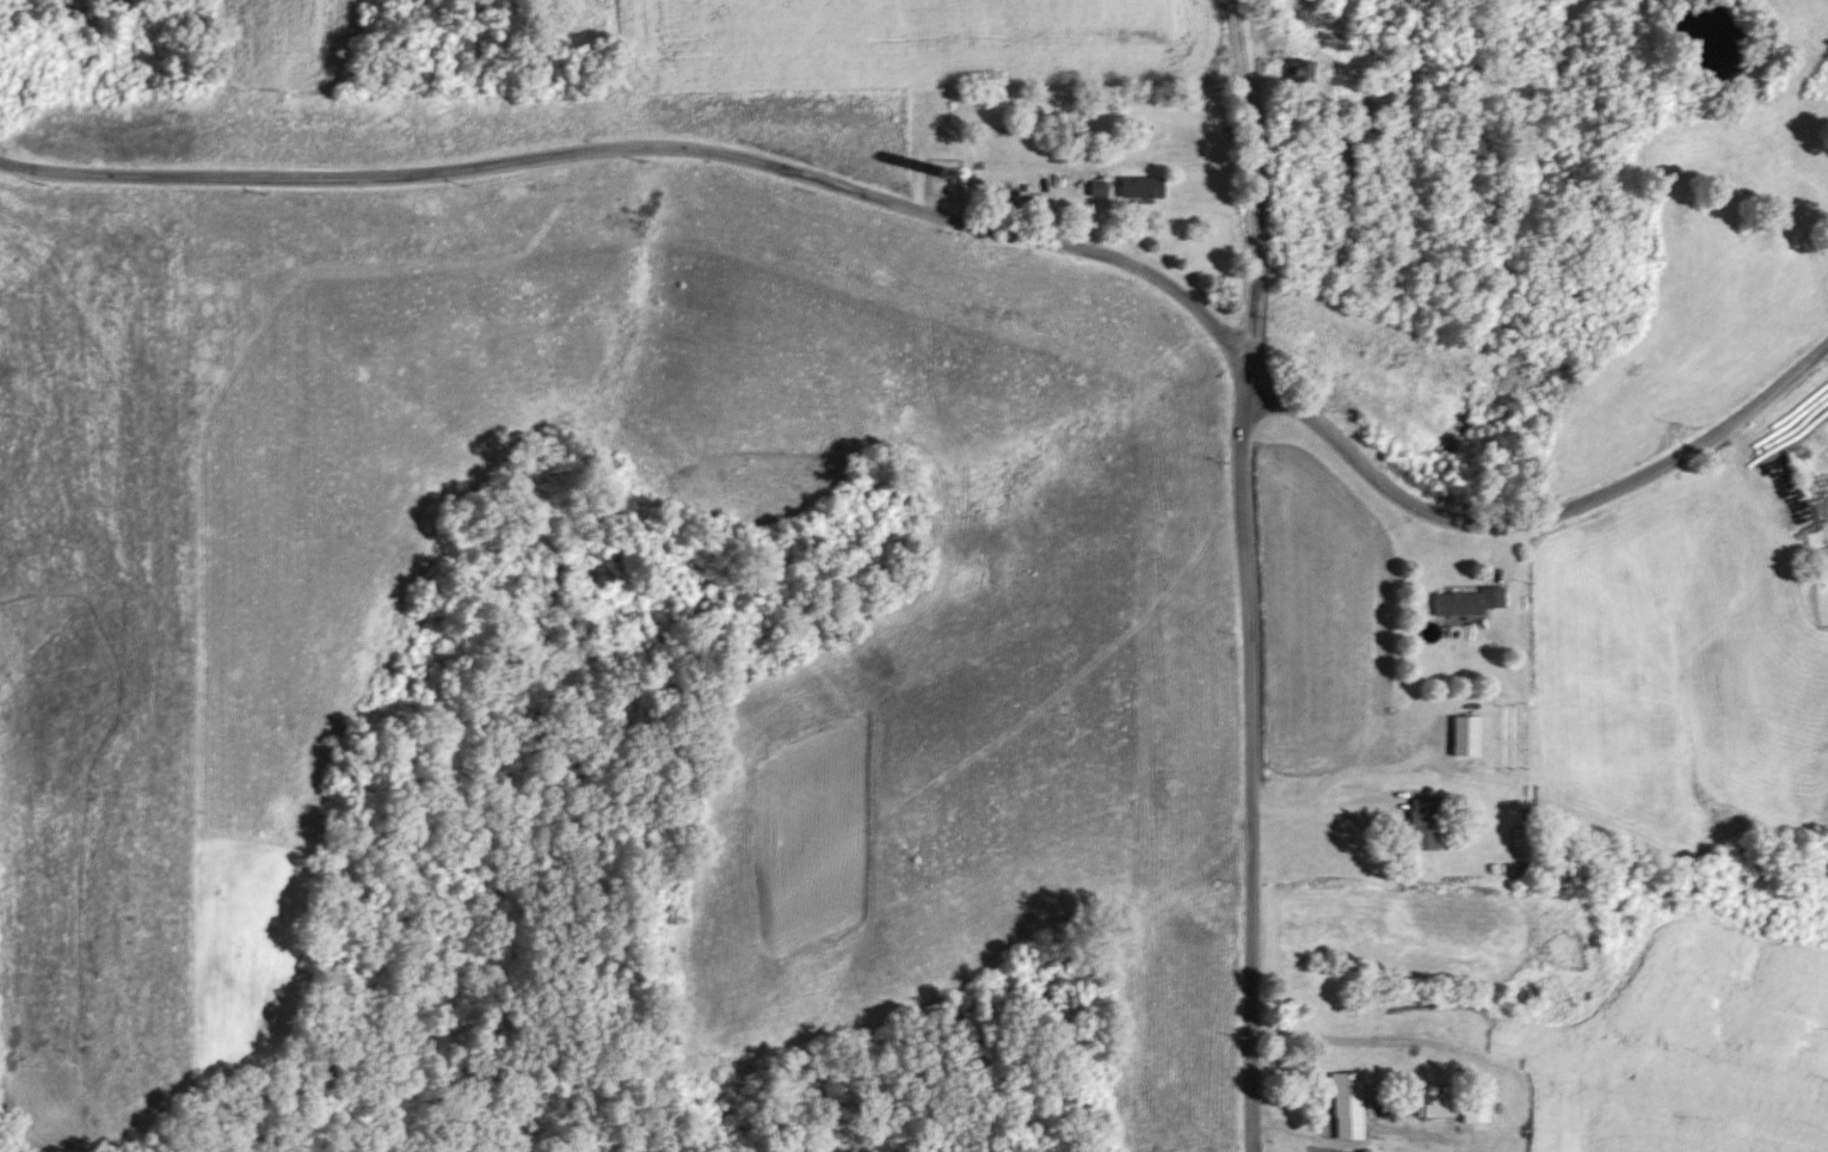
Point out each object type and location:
road: (648, 149)
water tower: (948, 172)
road: (1256, 180)
building: (1100, 183)
building: (1141, 186)
road: (1537, 515)
building: (1466, 602)
road: (1250, 757)
road: (1374, 765)
road: (1327, 803)
building: (1423, 823)
building: (1436, 1103)
building: (1346, 1104)
building: (1475, 1105)
crop: (1104, 1151)

